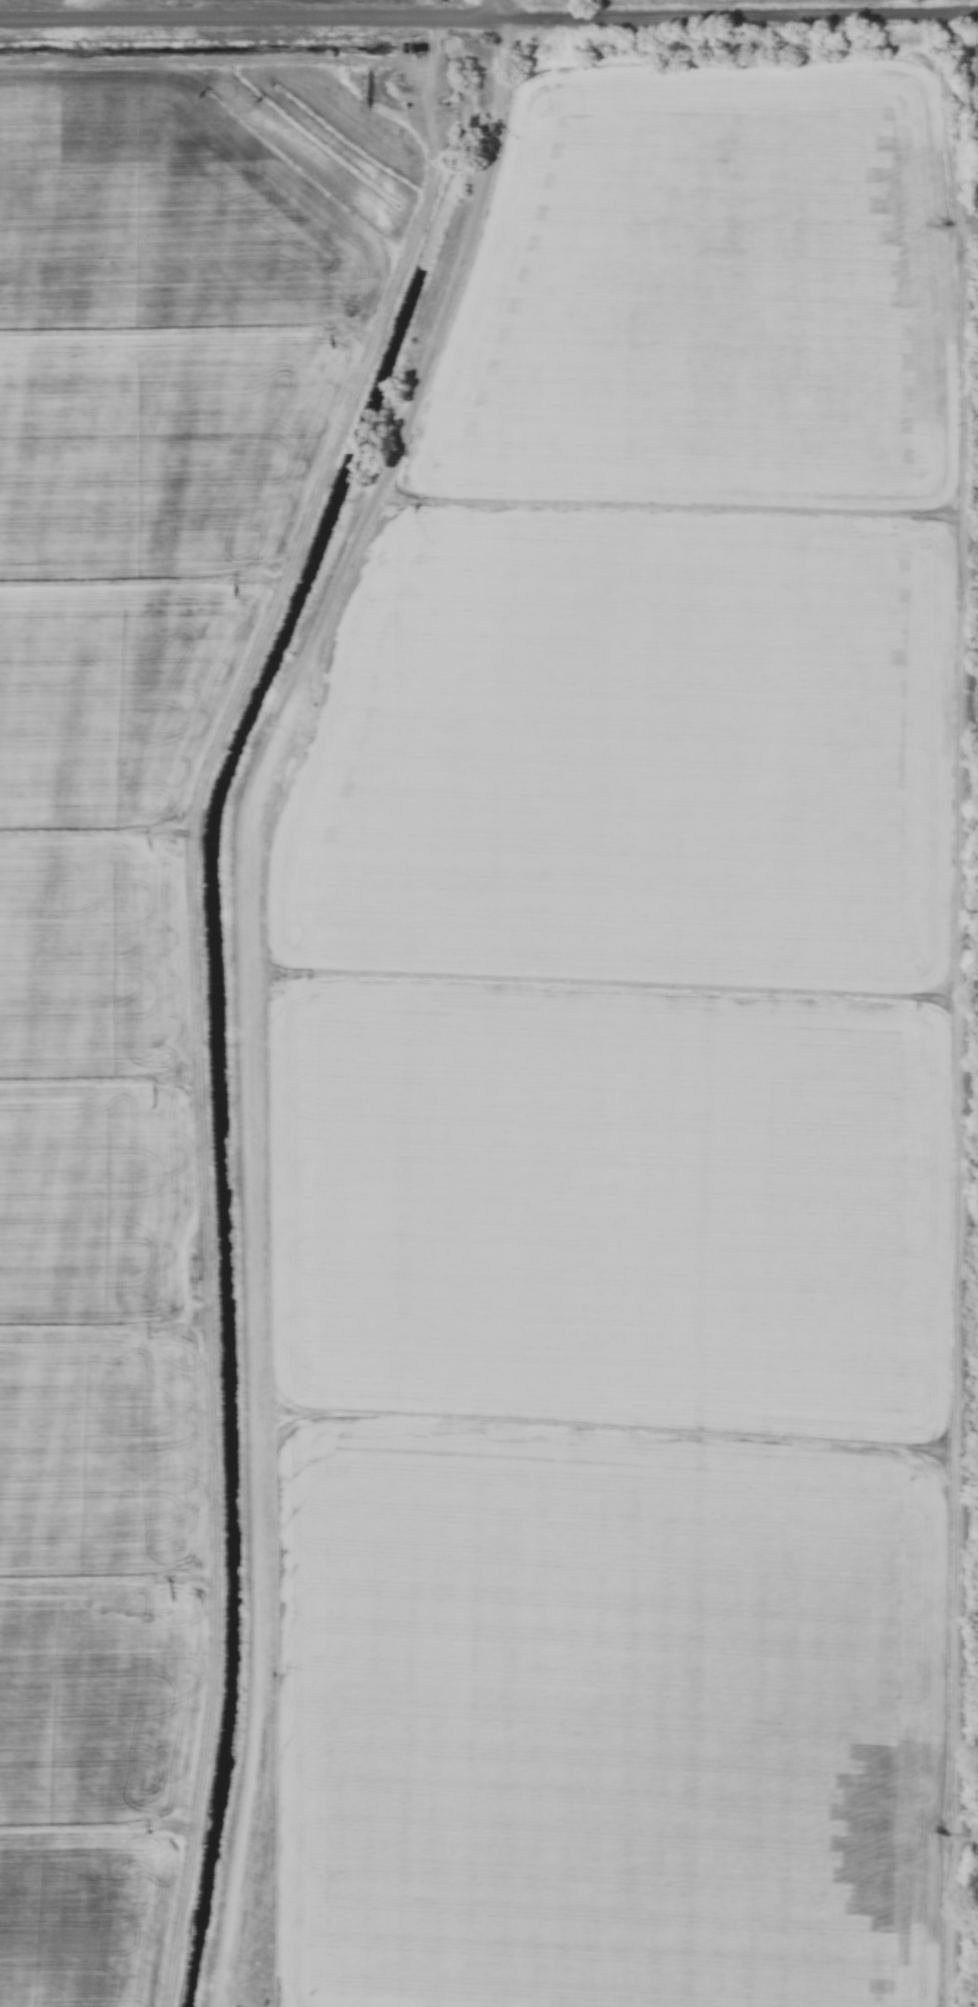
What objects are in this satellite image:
road: (507, 11)
road: (489, 23)
road: (245, 994)

